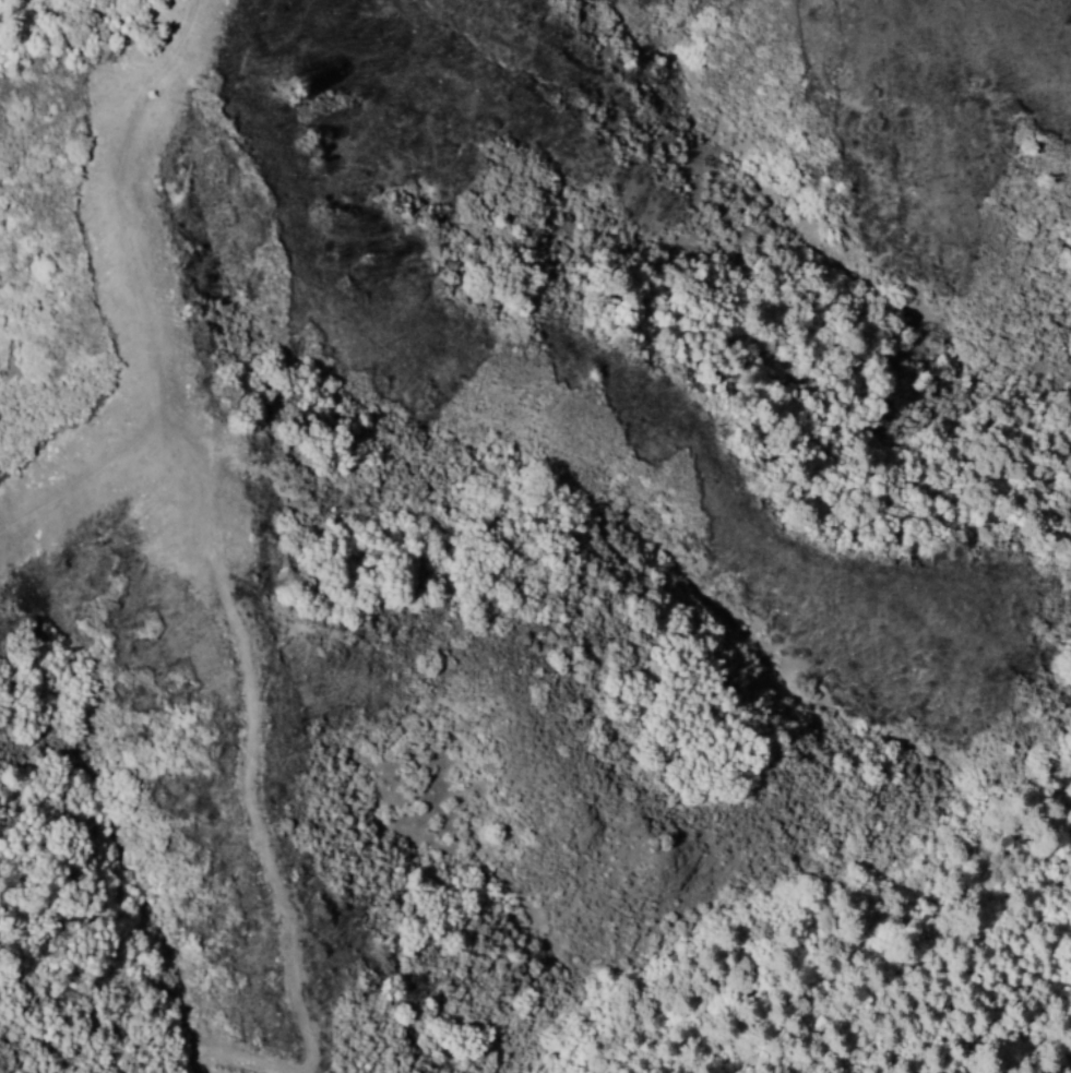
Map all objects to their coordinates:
road: (201, 527)
road: (164, 951)
road: (236, 1065)

